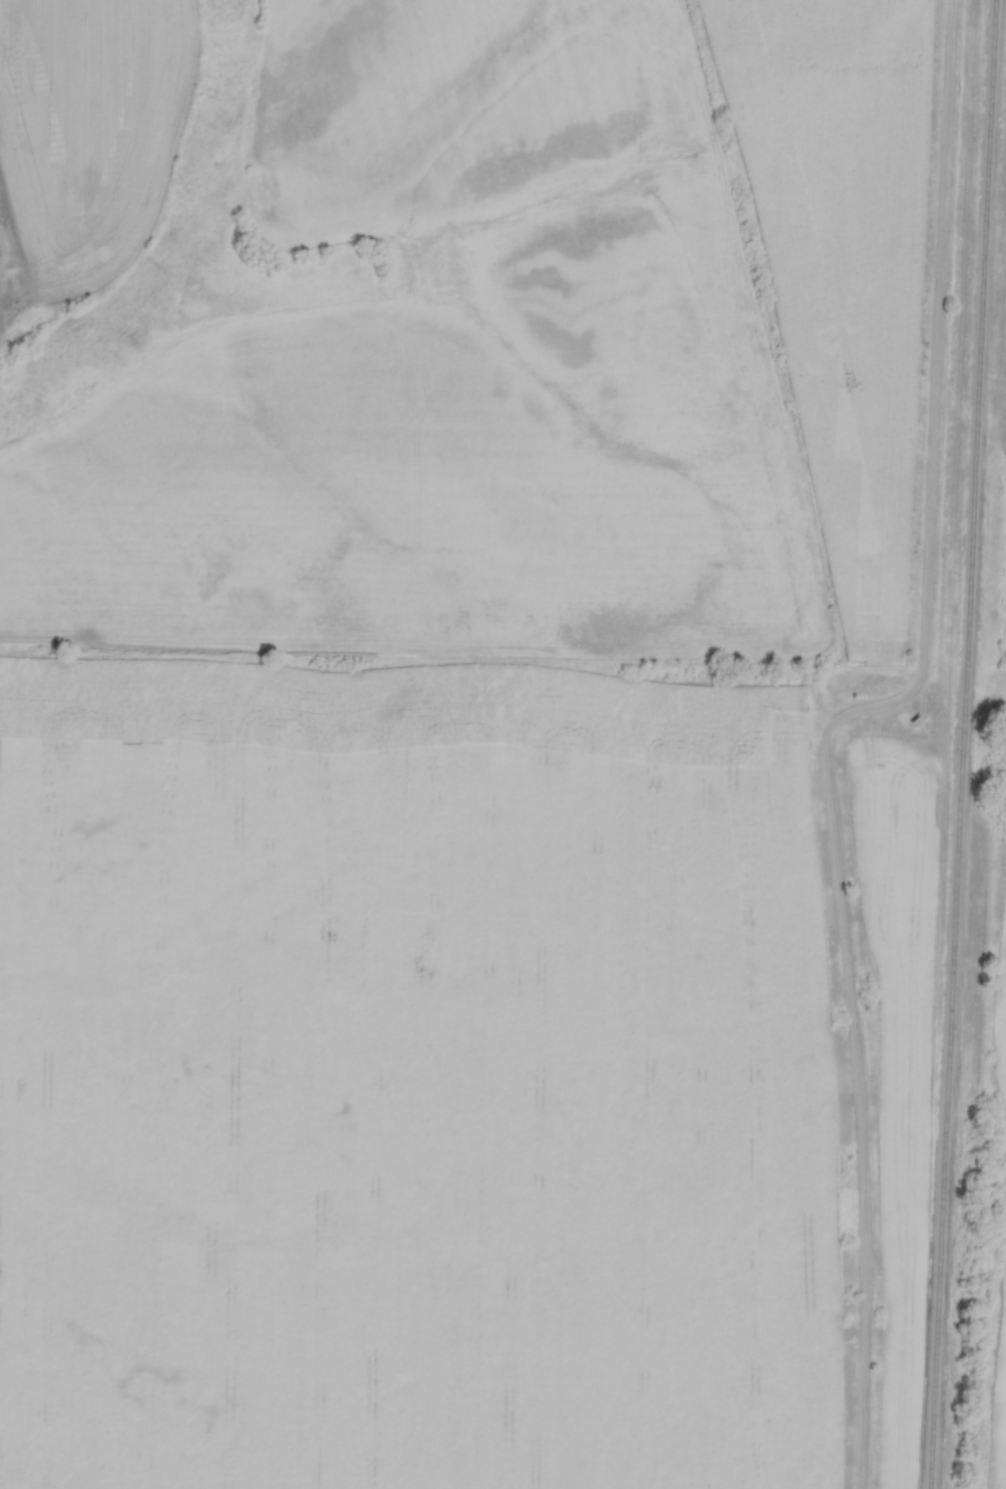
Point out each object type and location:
crop: (836, 262)
road: (930, 402)
crop: (1003, 604)
railway: (963, 744)
crop: (406, 1079)
road: (856, 1116)

